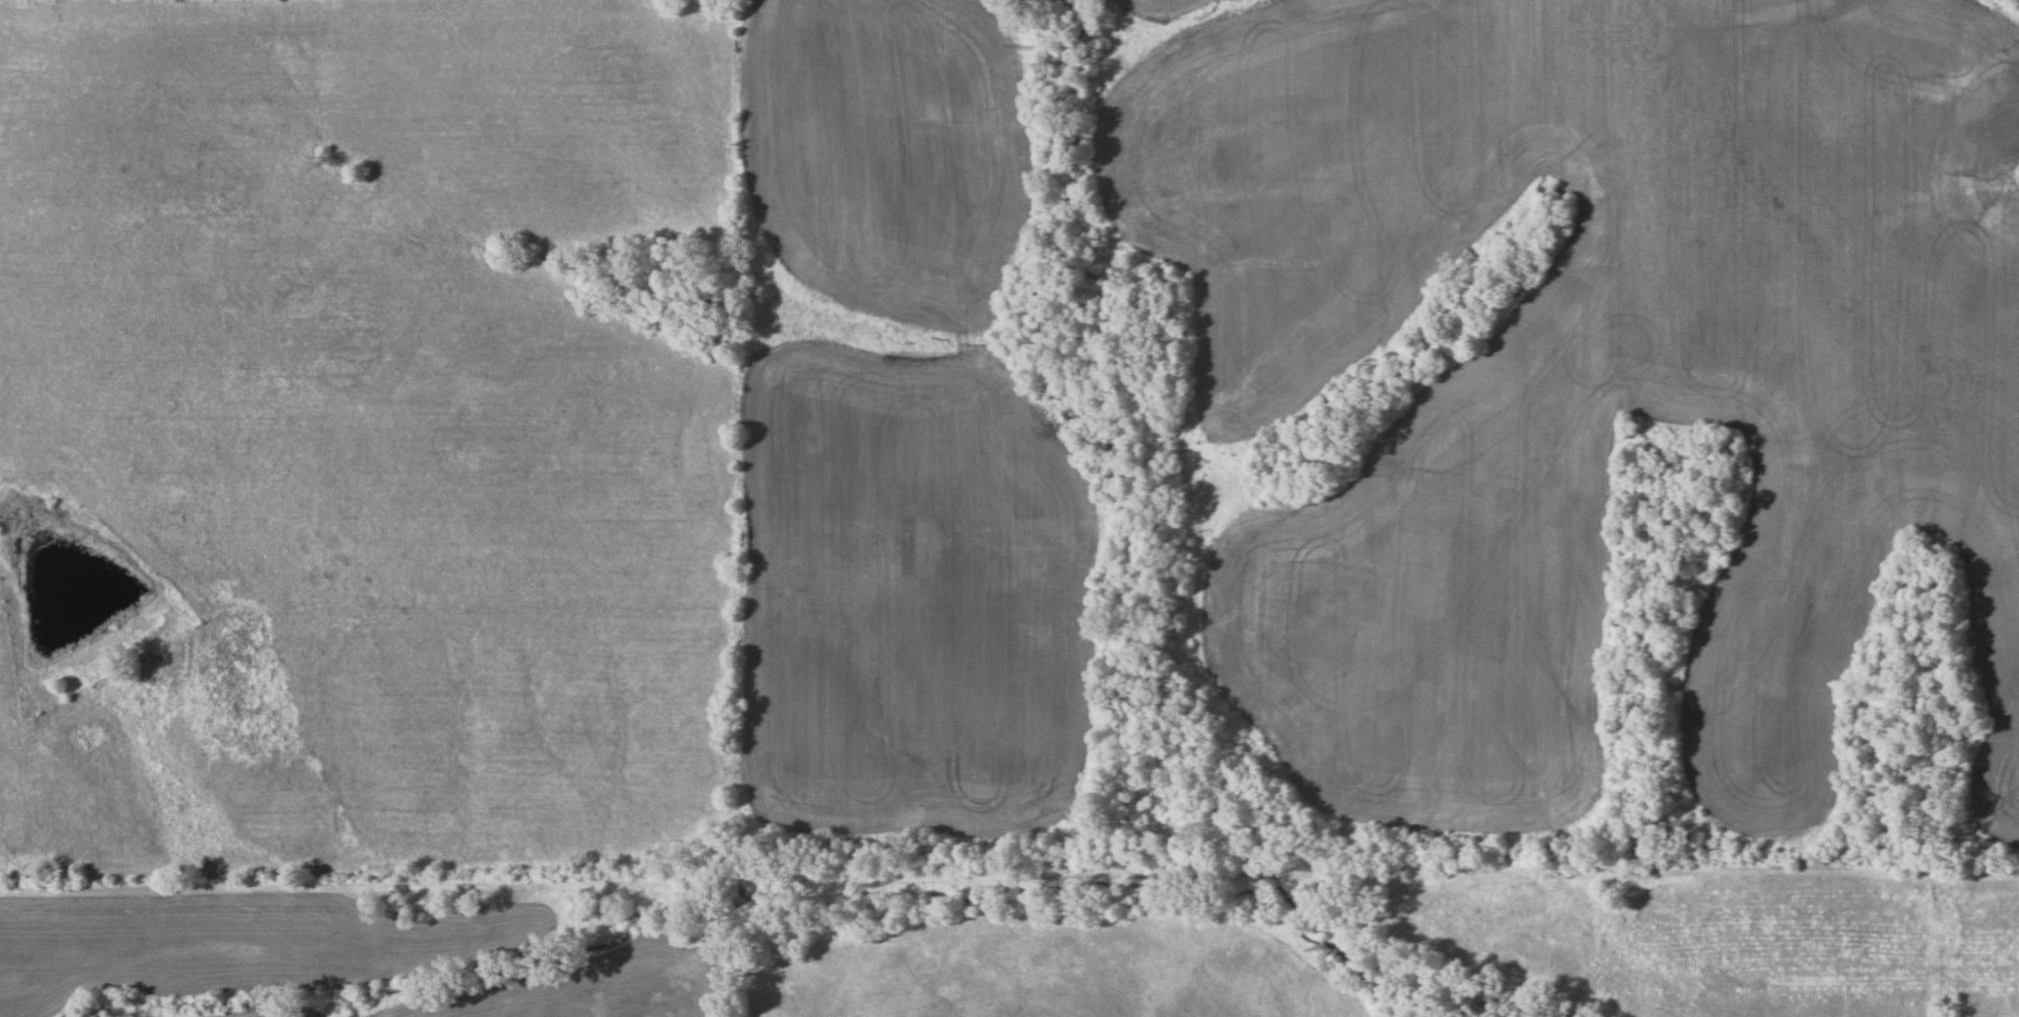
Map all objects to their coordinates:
road: (1009, 889)

